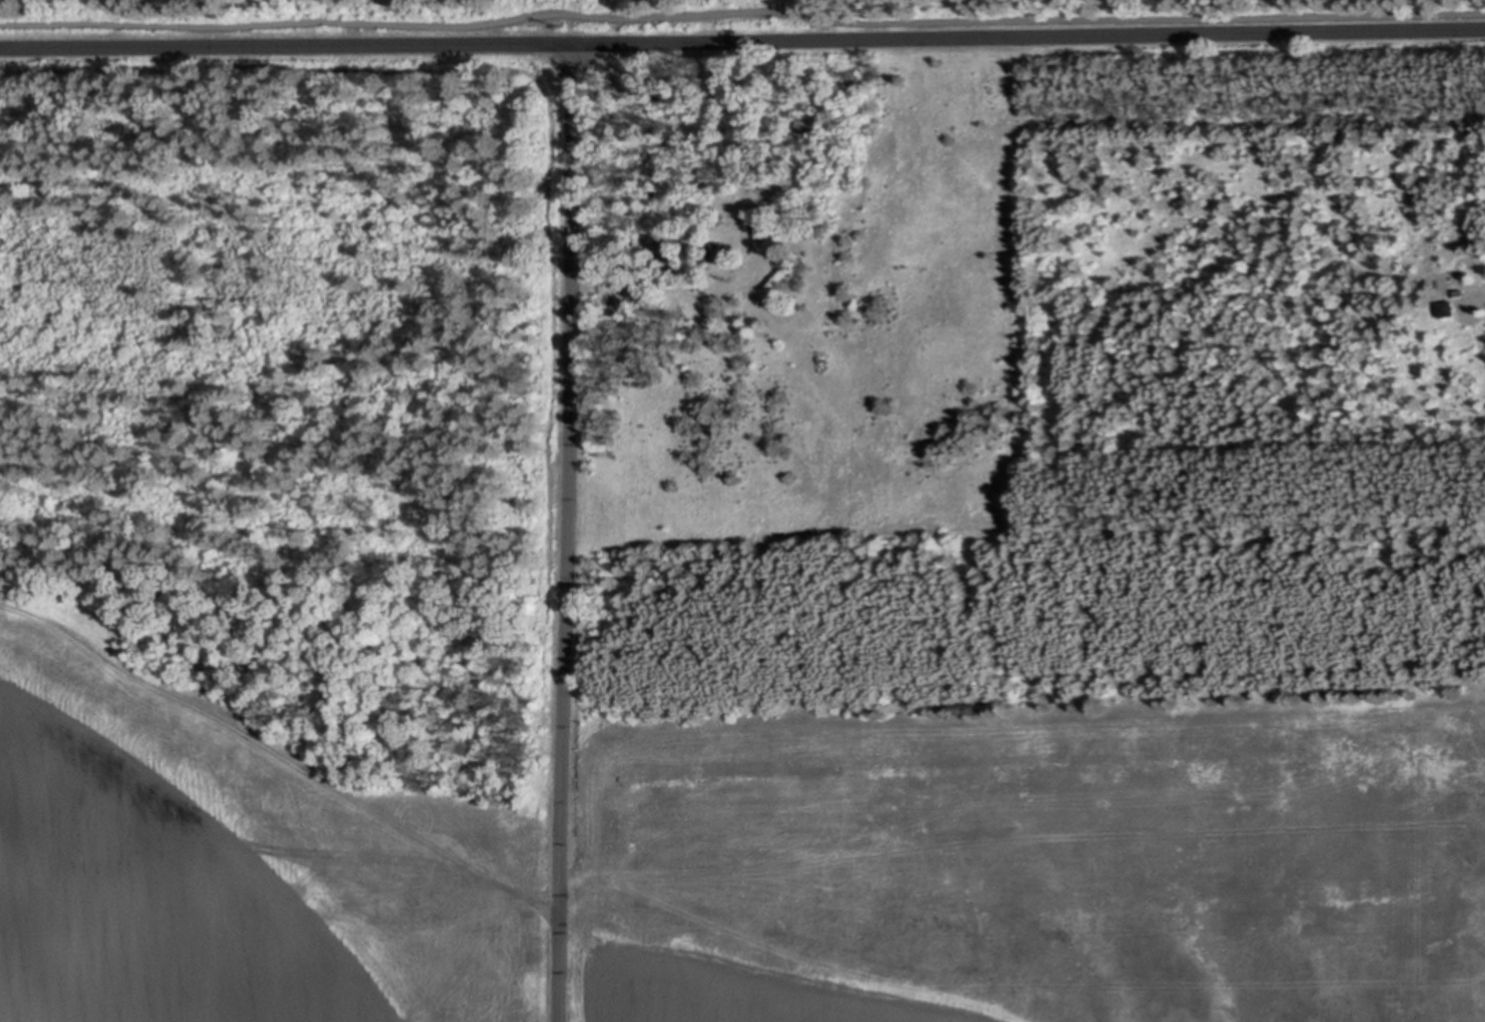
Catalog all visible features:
road: (742, 15)
road: (742, 43)
building: (779, 229)
building: (1450, 310)
road: (571, 534)
crop: (722, 852)

